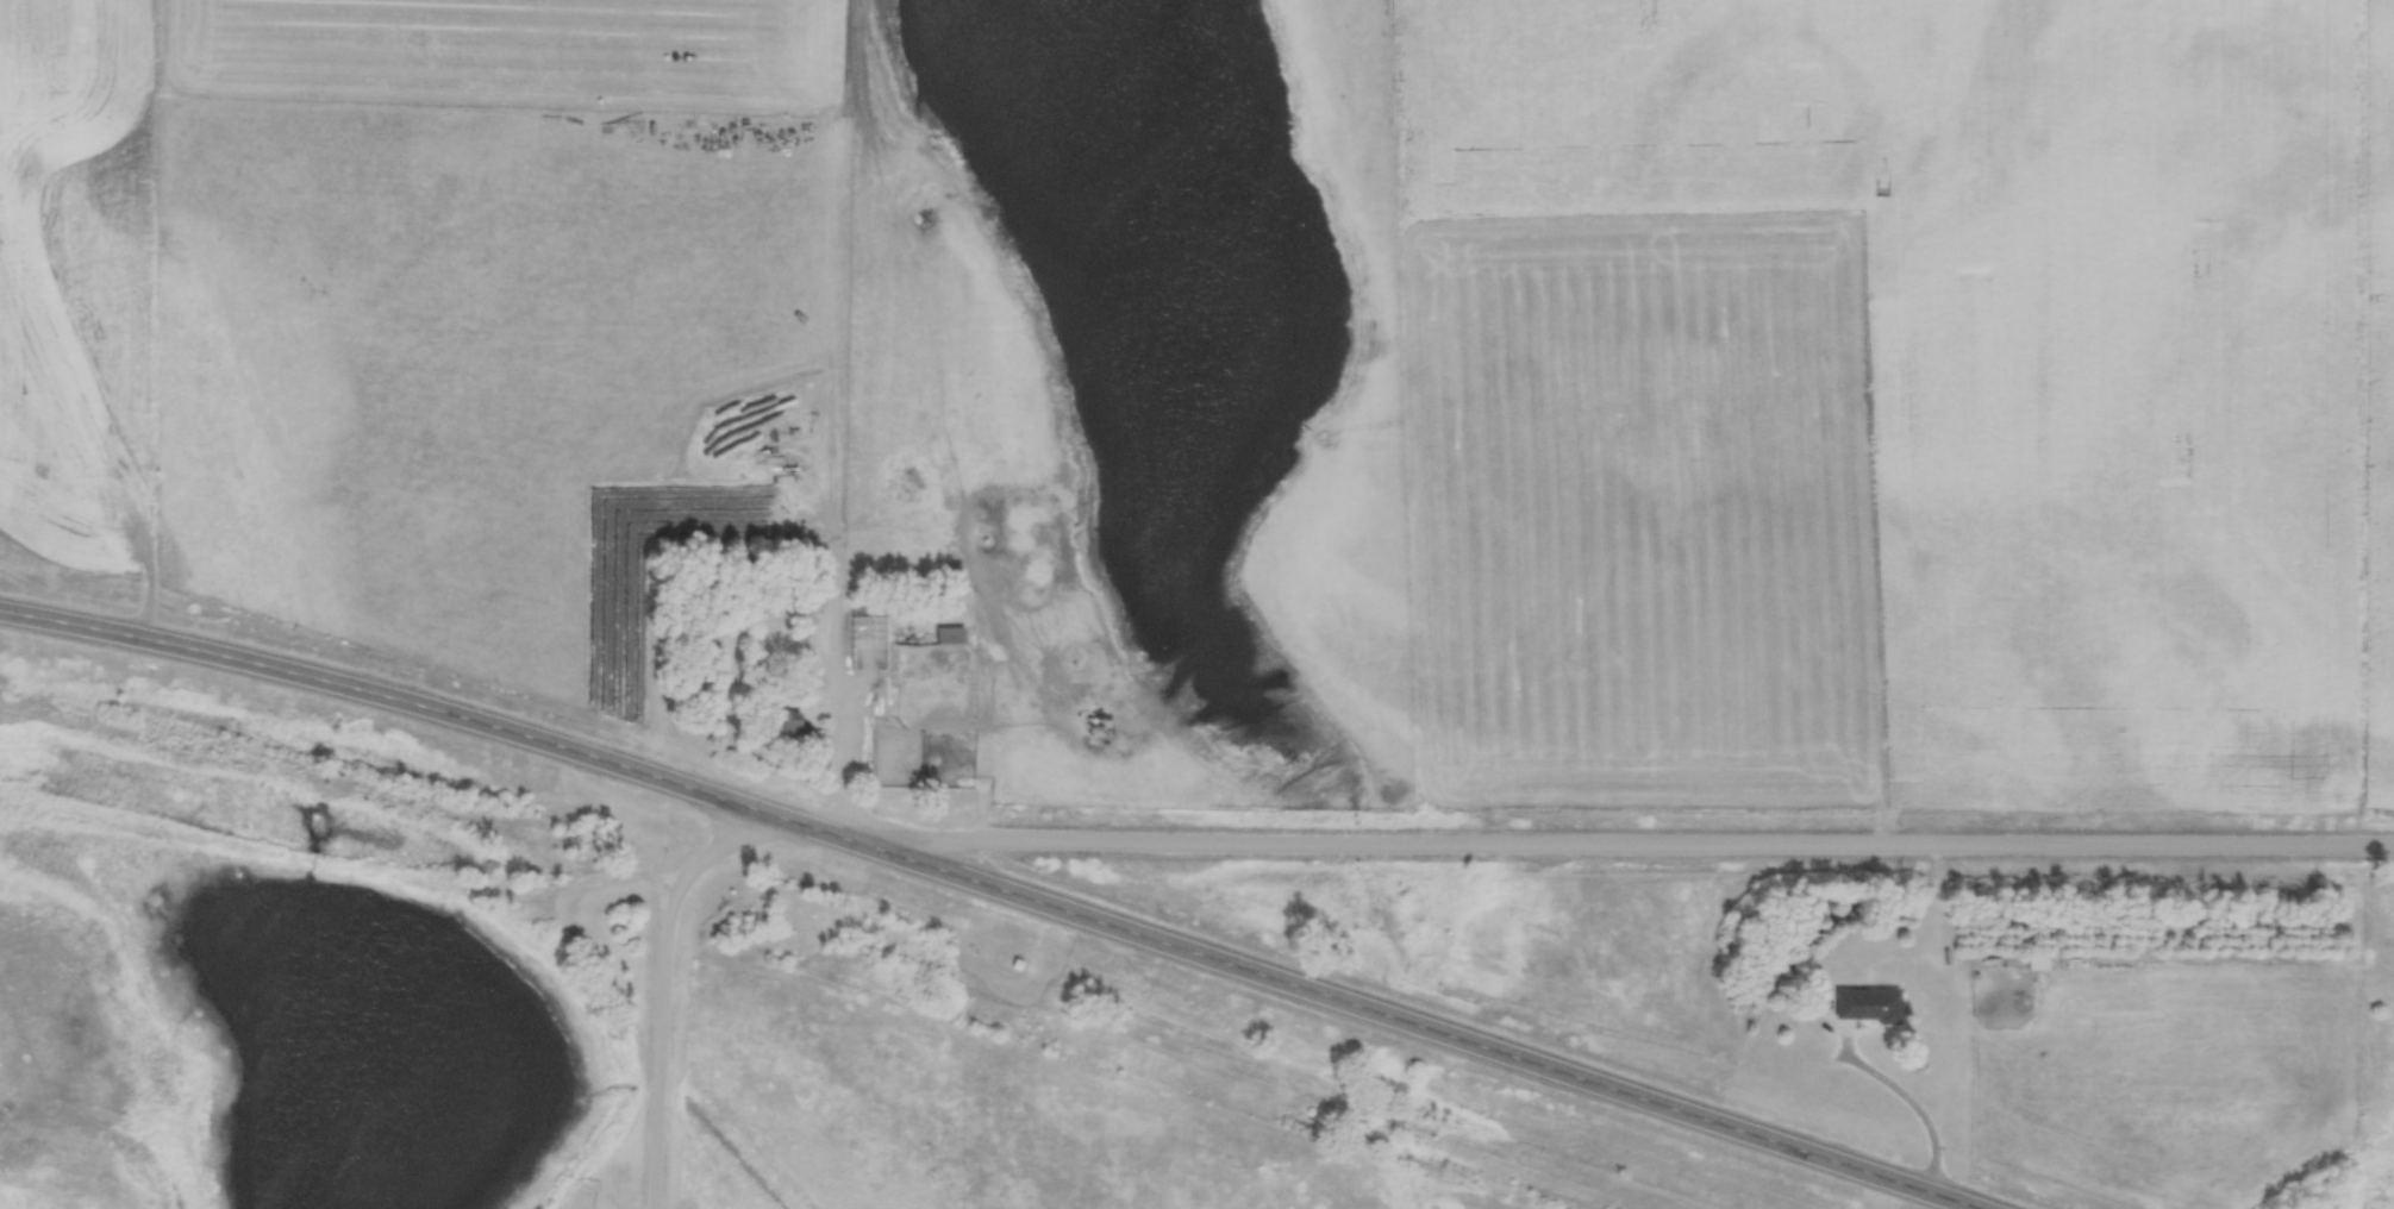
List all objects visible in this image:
building: (950, 637)
building: (776, 638)
building: (805, 649)
building: (858, 658)
building: (796, 728)
road: (1644, 841)
road: (1008, 876)
building: (2038, 964)
road: (668, 984)
building: (1868, 1007)
road: (1917, 1107)

